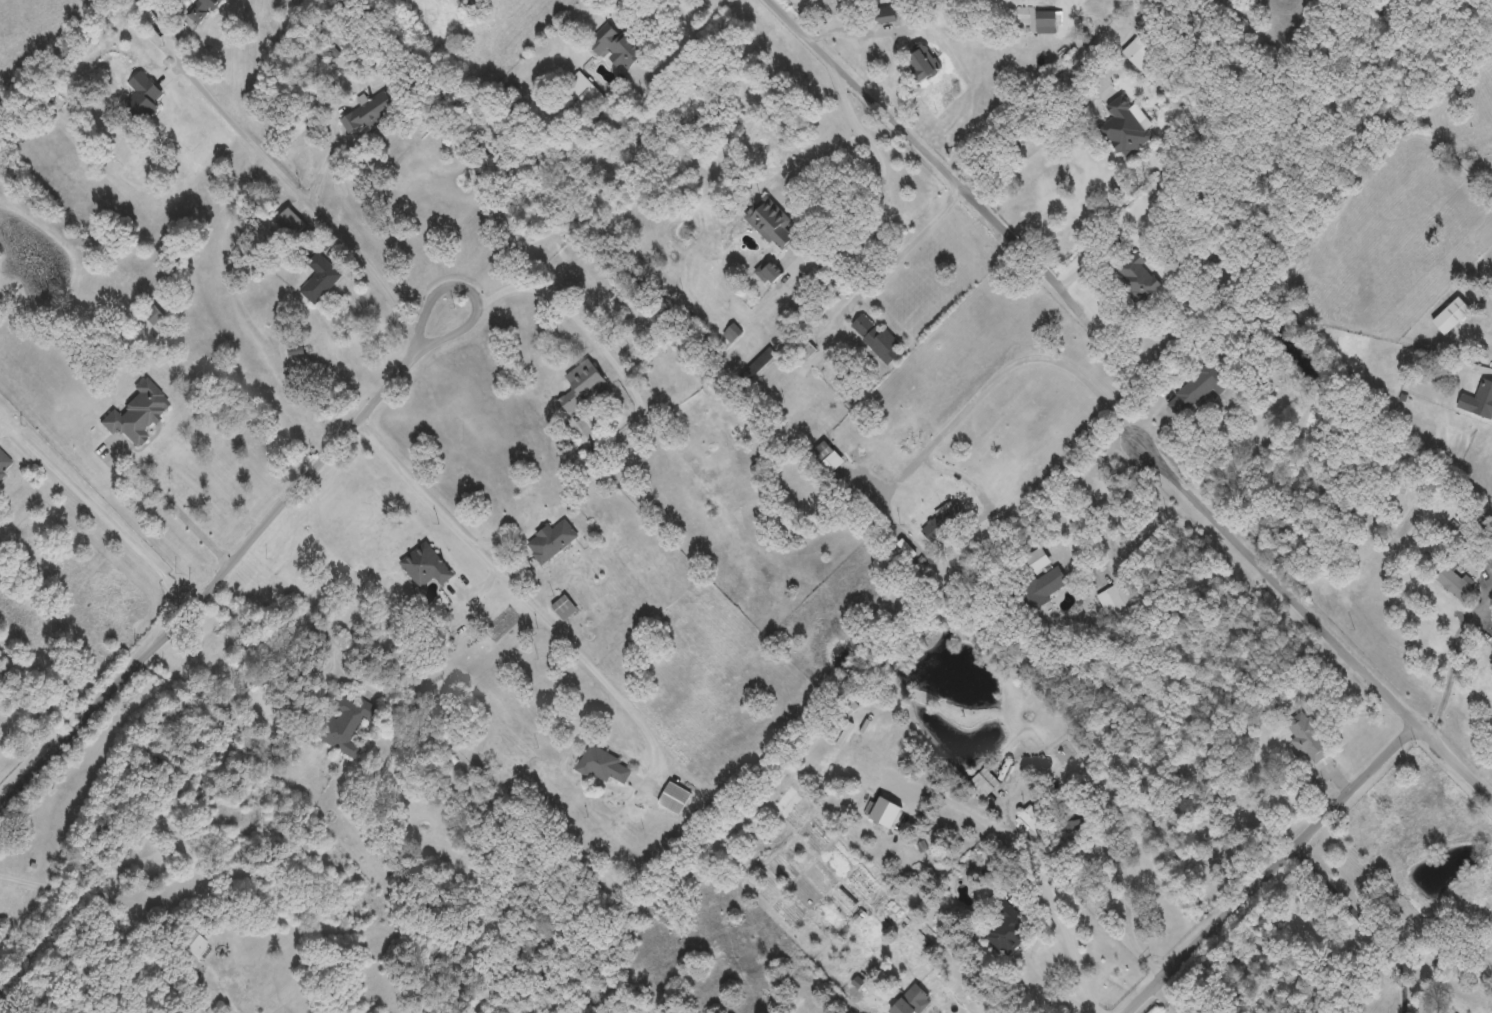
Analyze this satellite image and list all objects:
road: (592, 6)
building: (199, 9)
building: (886, 16)
building: (1045, 20)
building: (618, 45)
building: (1140, 53)
building: (924, 62)
building: (582, 92)
building: (141, 96)
building: (370, 114)
building: (1126, 128)
road: (1030, 147)
road: (937, 151)
road: (328, 155)
road: (304, 196)
road: (846, 210)
building: (290, 220)
building: (772, 222)
road: (1029, 255)
building: (770, 270)
building: (320, 276)
building: (1136, 276)
road: (480, 309)
building: (154, 314)
building: (1451, 314)
building: (732, 331)
road: (595, 336)
building: (877, 337)
building: (803, 347)
building: (581, 383)
building: (1197, 387)
building: (1478, 399)
building: (136, 412)
building: (821, 451)
building: (4, 462)
road: (1182, 476)
road: (179, 508)
road: (100, 512)
building: (552, 539)
building: (425, 564)
road: (216, 576)
building: (1042, 577)
building: (1454, 579)
road: (523, 592)
building: (1116, 599)
building: (564, 606)
road: (1177, 648)
road: (1457, 654)
road: (37, 691)
building: (850, 705)
road: (302, 707)
building: (345, 722)
building: (1308, 735)
road: (1457, 755)
building: (604, 764)
building: (985, 778)
building: (674, 796)
building: (1033, 817)
building: (1078, 820)
road: (1023, 853)
road: (1273, 865)
road: (1086, 868)
road: (1126, 887)
road: (72, 895)
road: (1365, 921)
building: (1007, 926)
building: (1491, 927)
building: (4, 936)
building: (188, 940)
road: (1134, 942)
road: (1042, 972)
road: (1168, 998)
building: (910, 1000)

